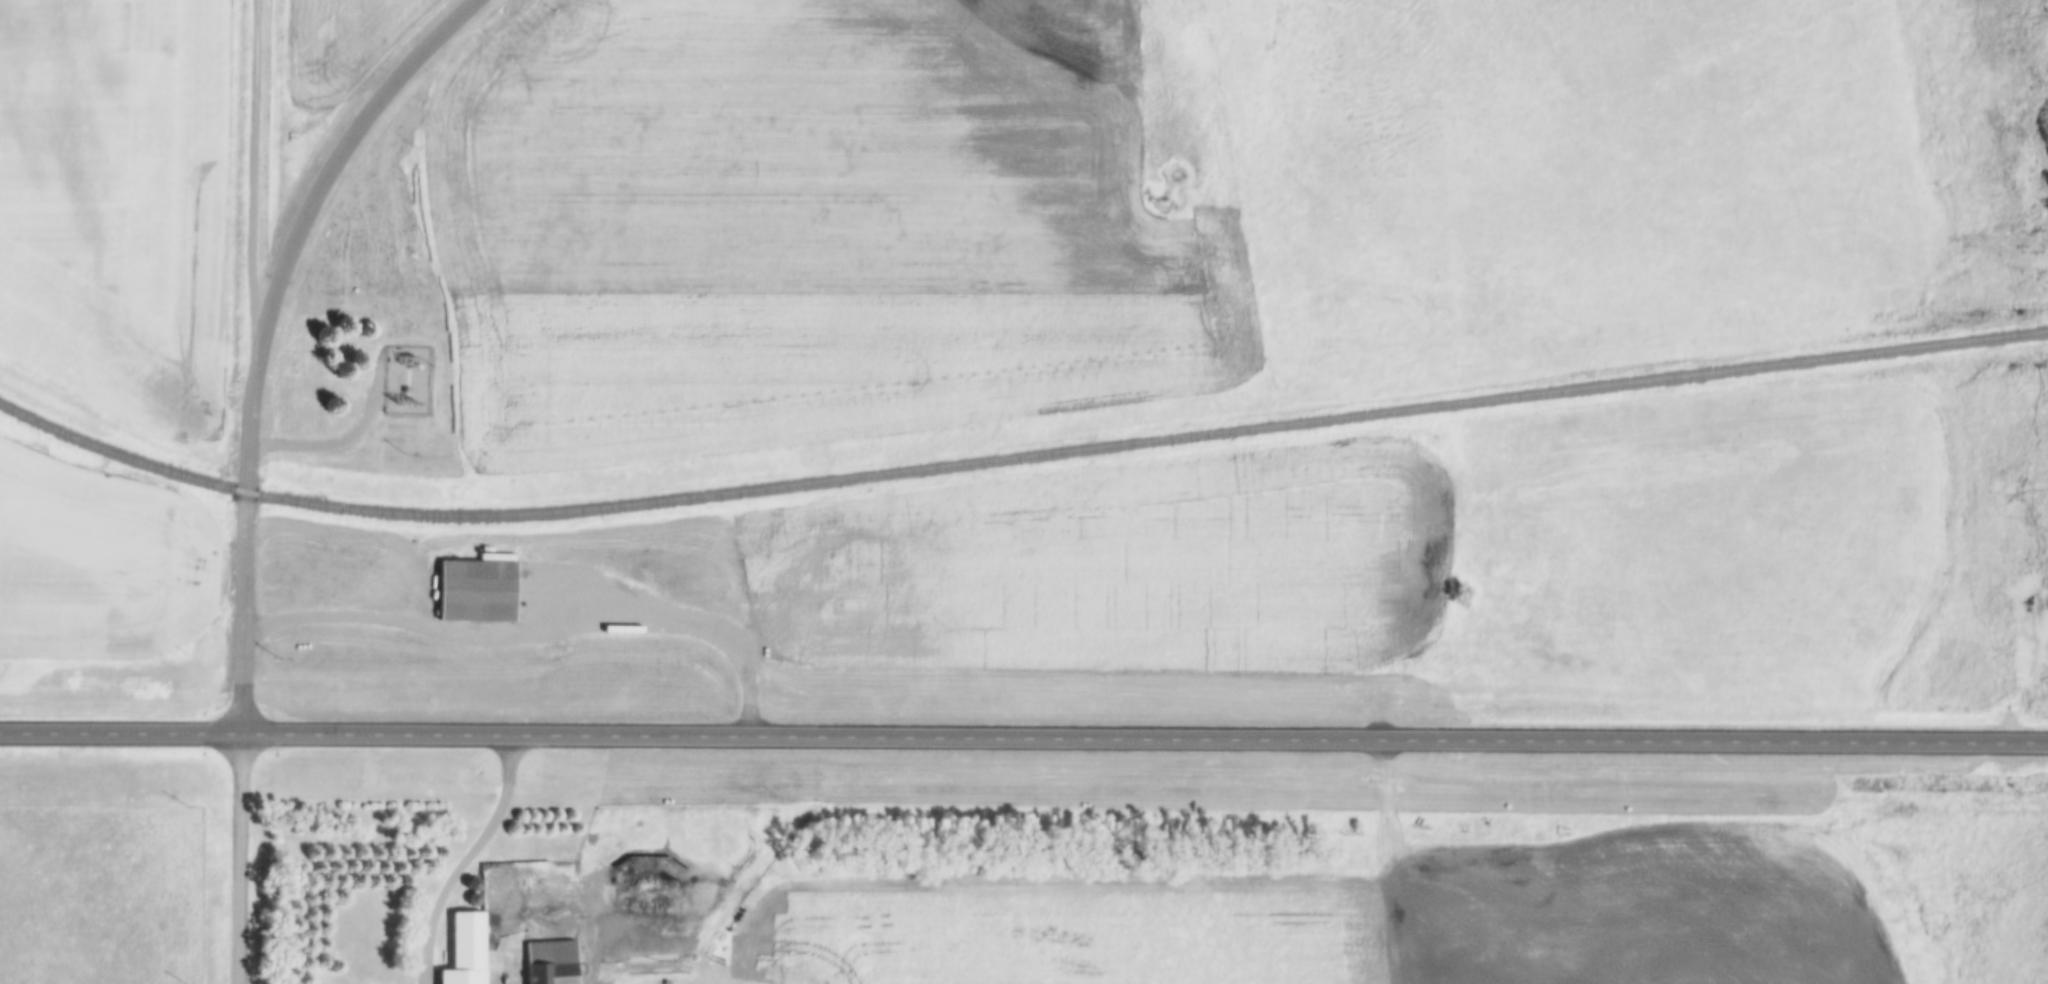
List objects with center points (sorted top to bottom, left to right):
road: (334, 174)
road: (255, 193)
power substation: (407, 379)
road: (336, 442)
railway: (1016, 456)
road: (246, 561)
building: (509, 584)
road: (530, 642)
road: (1023, 741)
road: (241, 860)
road: (471, 860)
building: (476, 883)
silo: (476, 883)
building: (478, 899)
silo: (478, 899)
building: (470, 958)
building: (554, 962)

